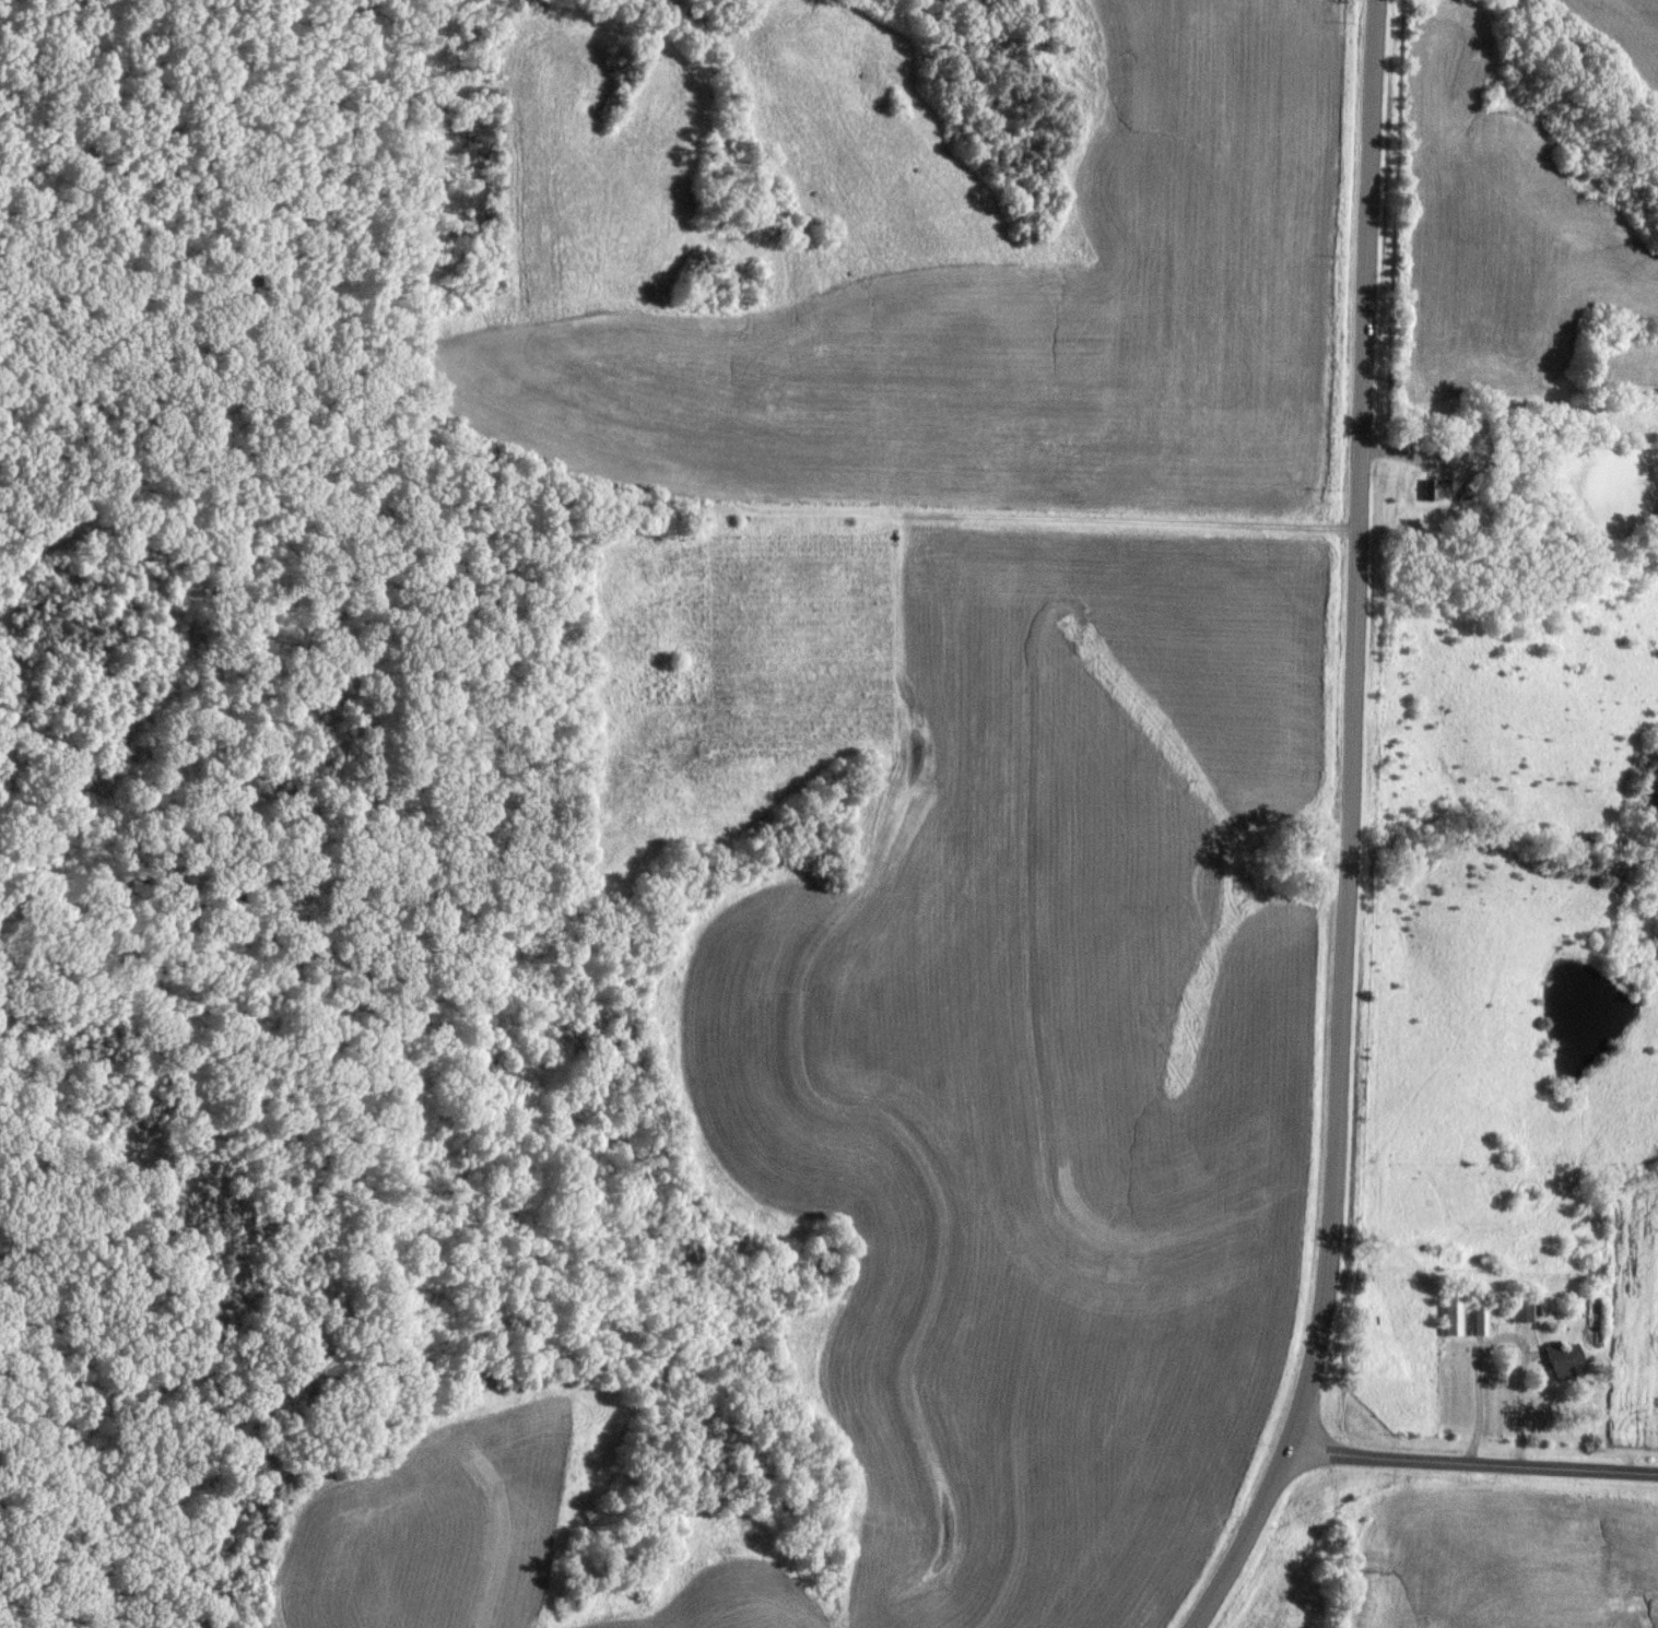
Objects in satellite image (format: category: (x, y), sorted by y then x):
building: (1438, 489)
road: (1350, 828)
building: (1454, 1314)
building: (1522, 1314)
building: (1481, 1321)
building: (1594, 1322)
road: (1505, 1336)
building: (1564, 1360)
building: (1463, 1367)
road: (1473, 1461)

